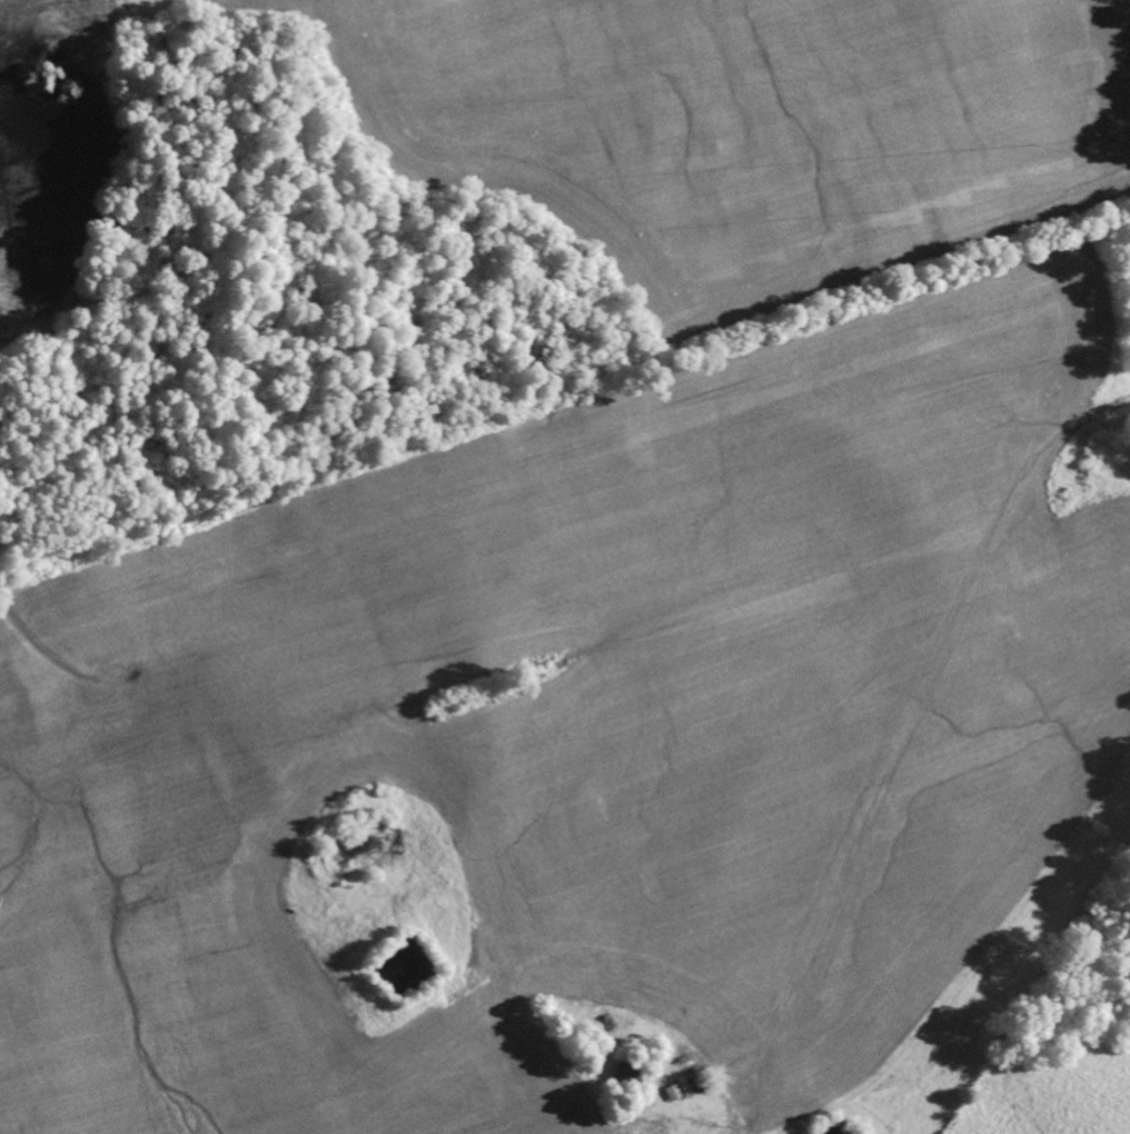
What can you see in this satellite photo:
building: (626, 1077)
building: (683, 1085)

